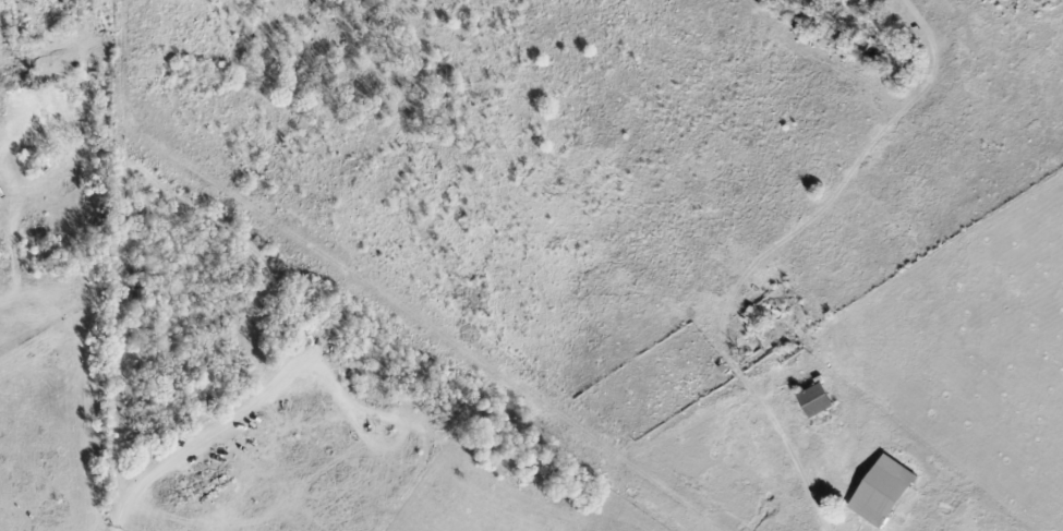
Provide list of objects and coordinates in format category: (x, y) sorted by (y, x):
airport runway: (413, 323)
building: (814, 400)
road: (212, 437)
road: (804, 463)
building: (881, 490)

